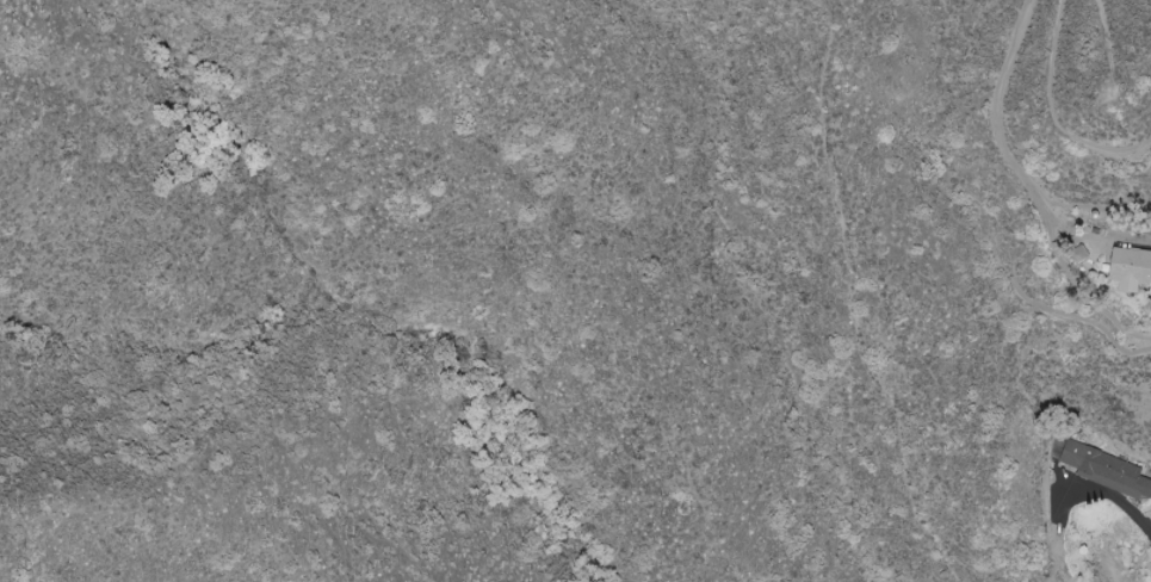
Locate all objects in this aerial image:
building: (1132, 270)
road: (1135, 512)

